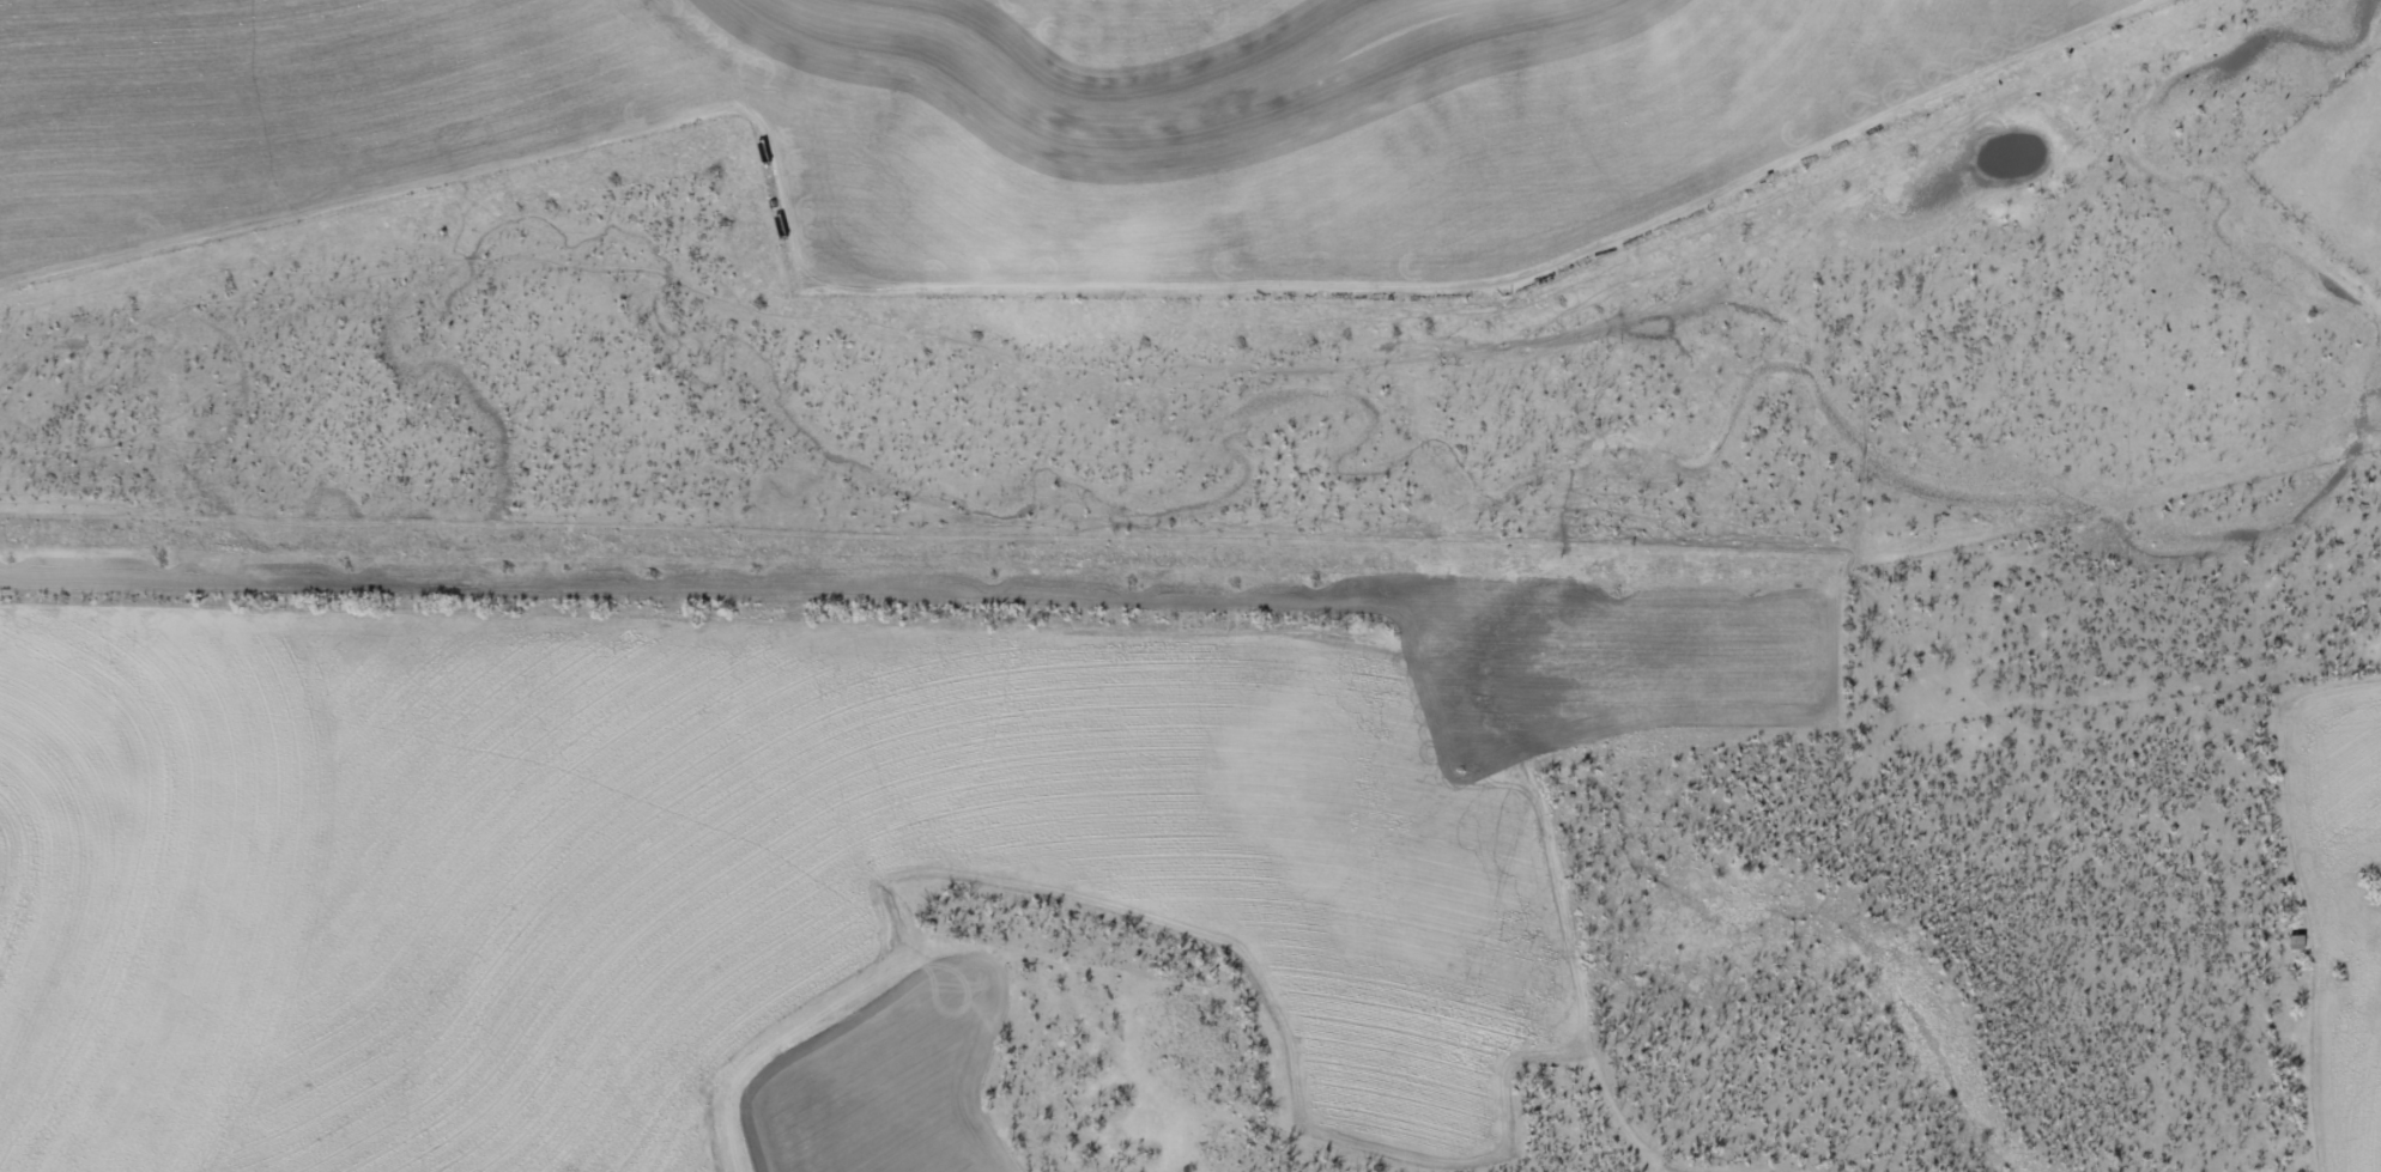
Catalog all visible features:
road: (2346, 1099)

